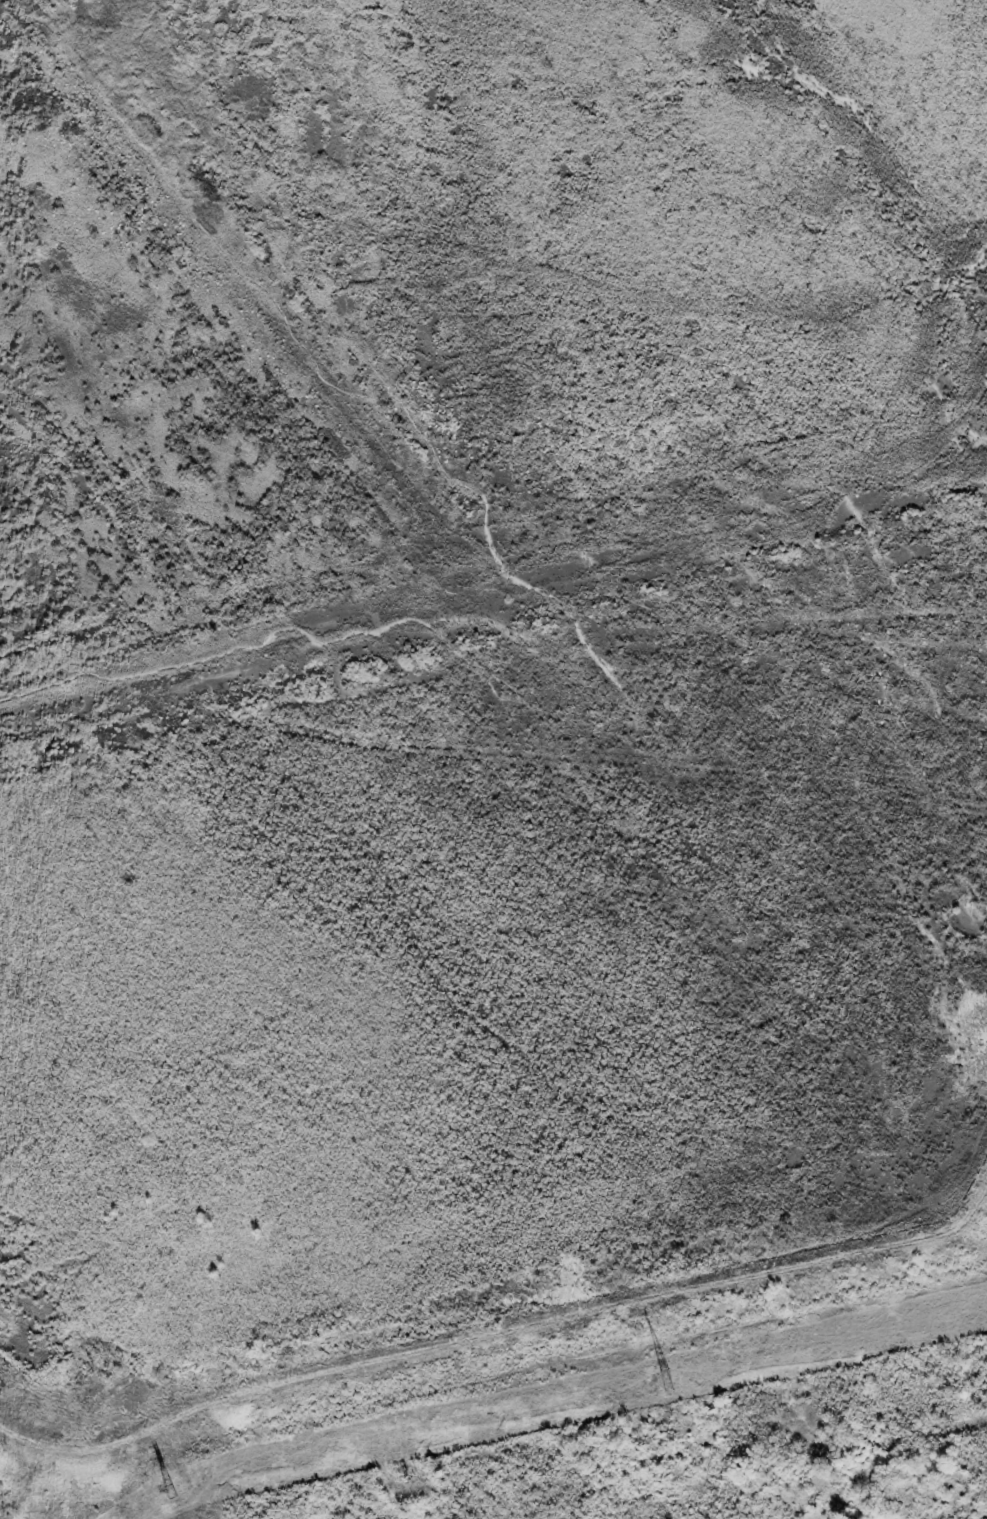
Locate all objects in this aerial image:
landfill: (493, 759)
power tower: (661, 1379)
power tower: (162, 1488)

